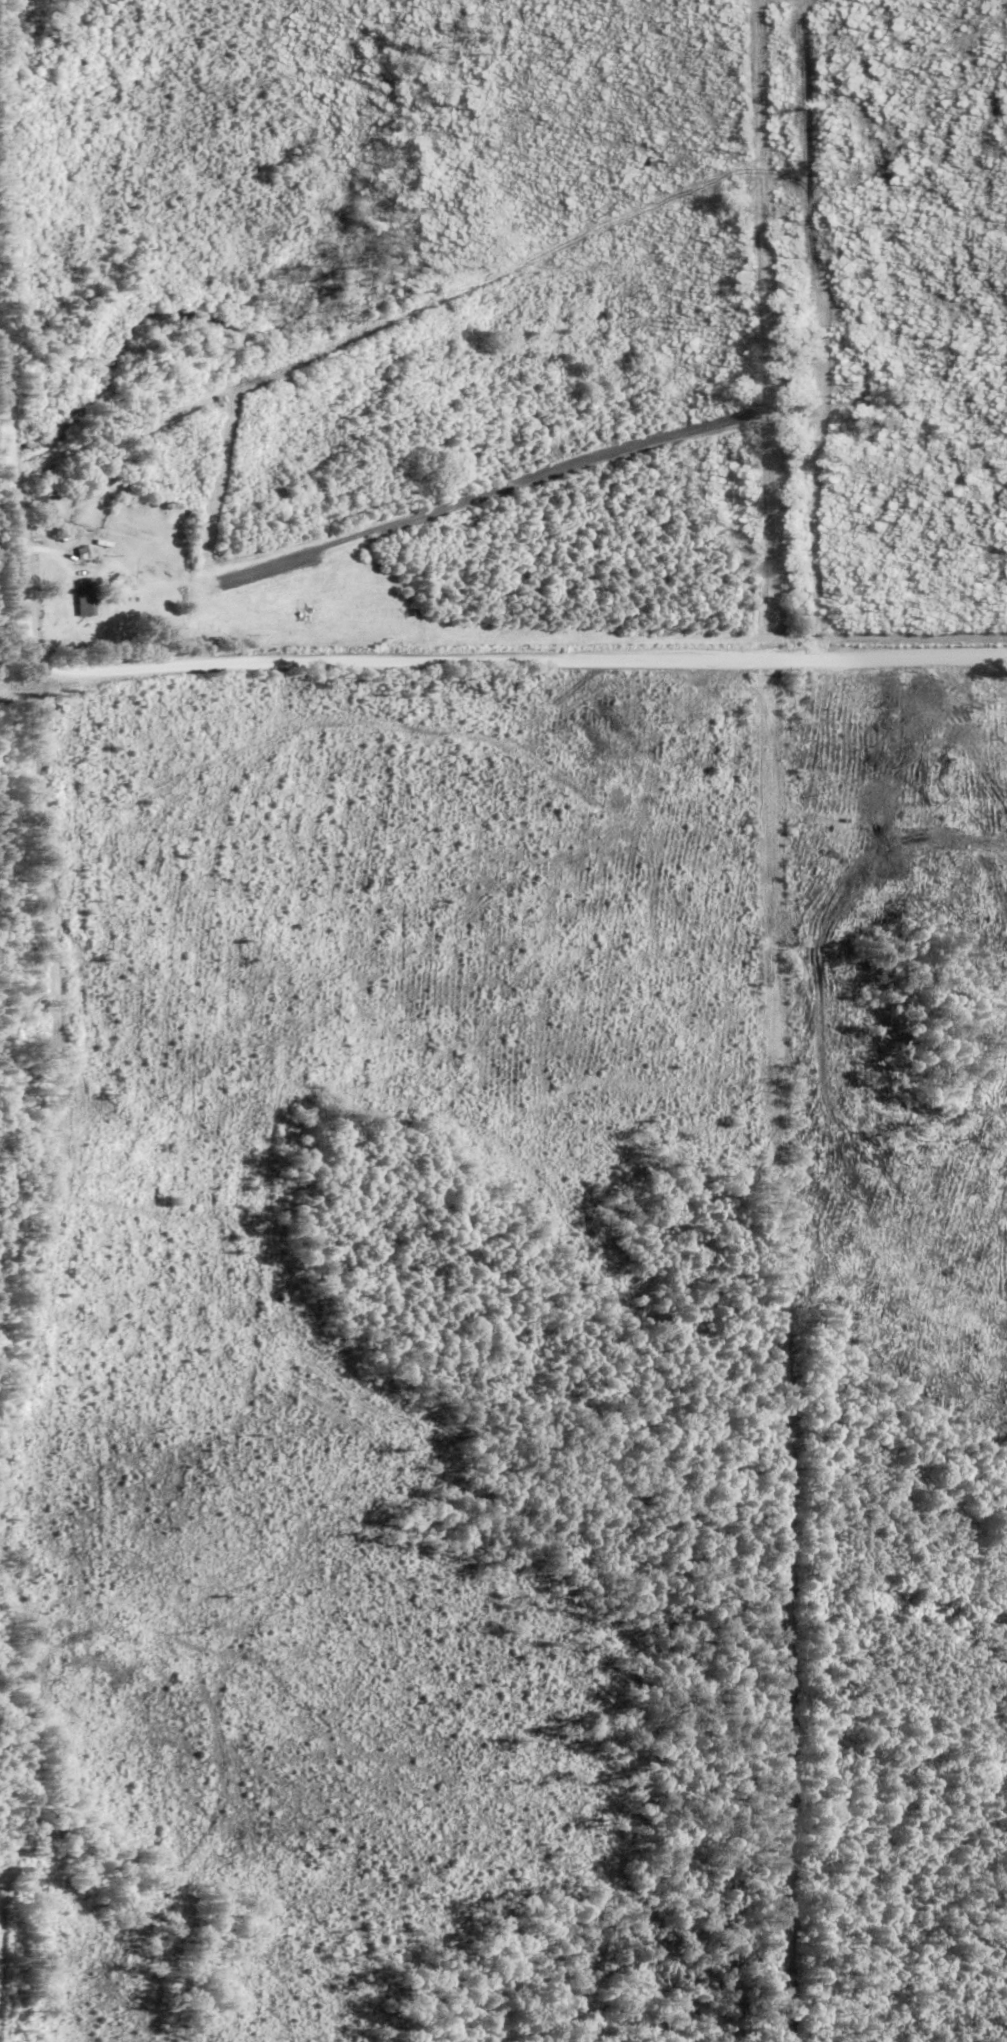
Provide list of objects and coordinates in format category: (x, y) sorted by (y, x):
building: (40, 498)
building: (85, 598)
road: (355, 661)

